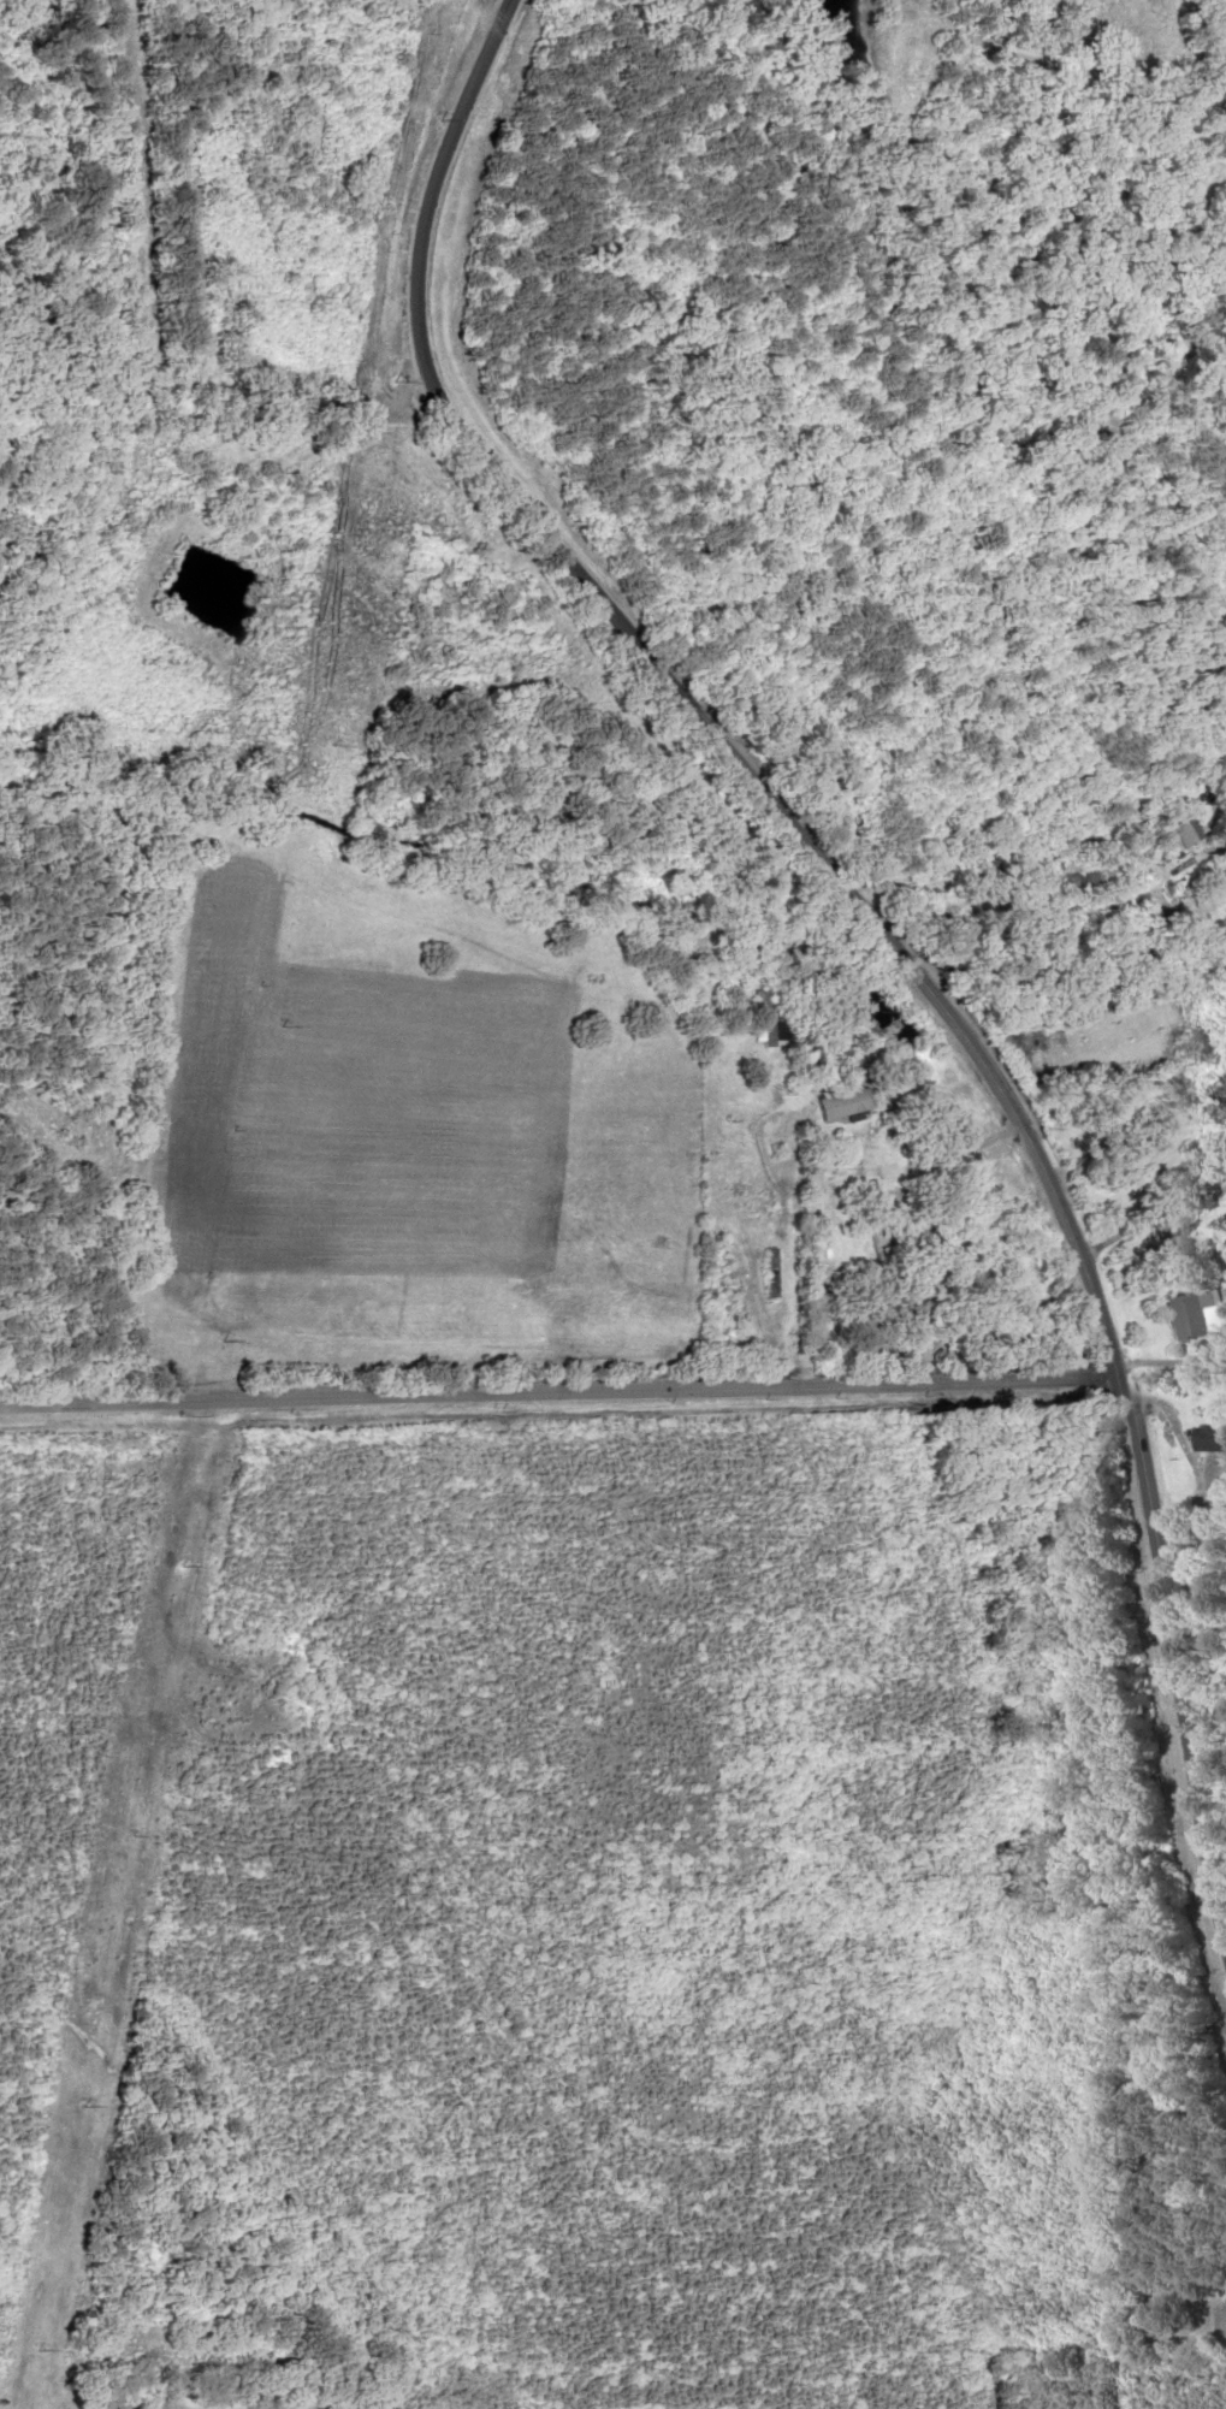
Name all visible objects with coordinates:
building: (1177, 845)
building: (1082, 882)
road: (886, 928)
building: (1208, 1100)
building: (845, 1103)
building: (772, 1273)
building: (855, 1312)
building: (1187, 1314)
road: (559, 1389)
building: (1210, 1440)

